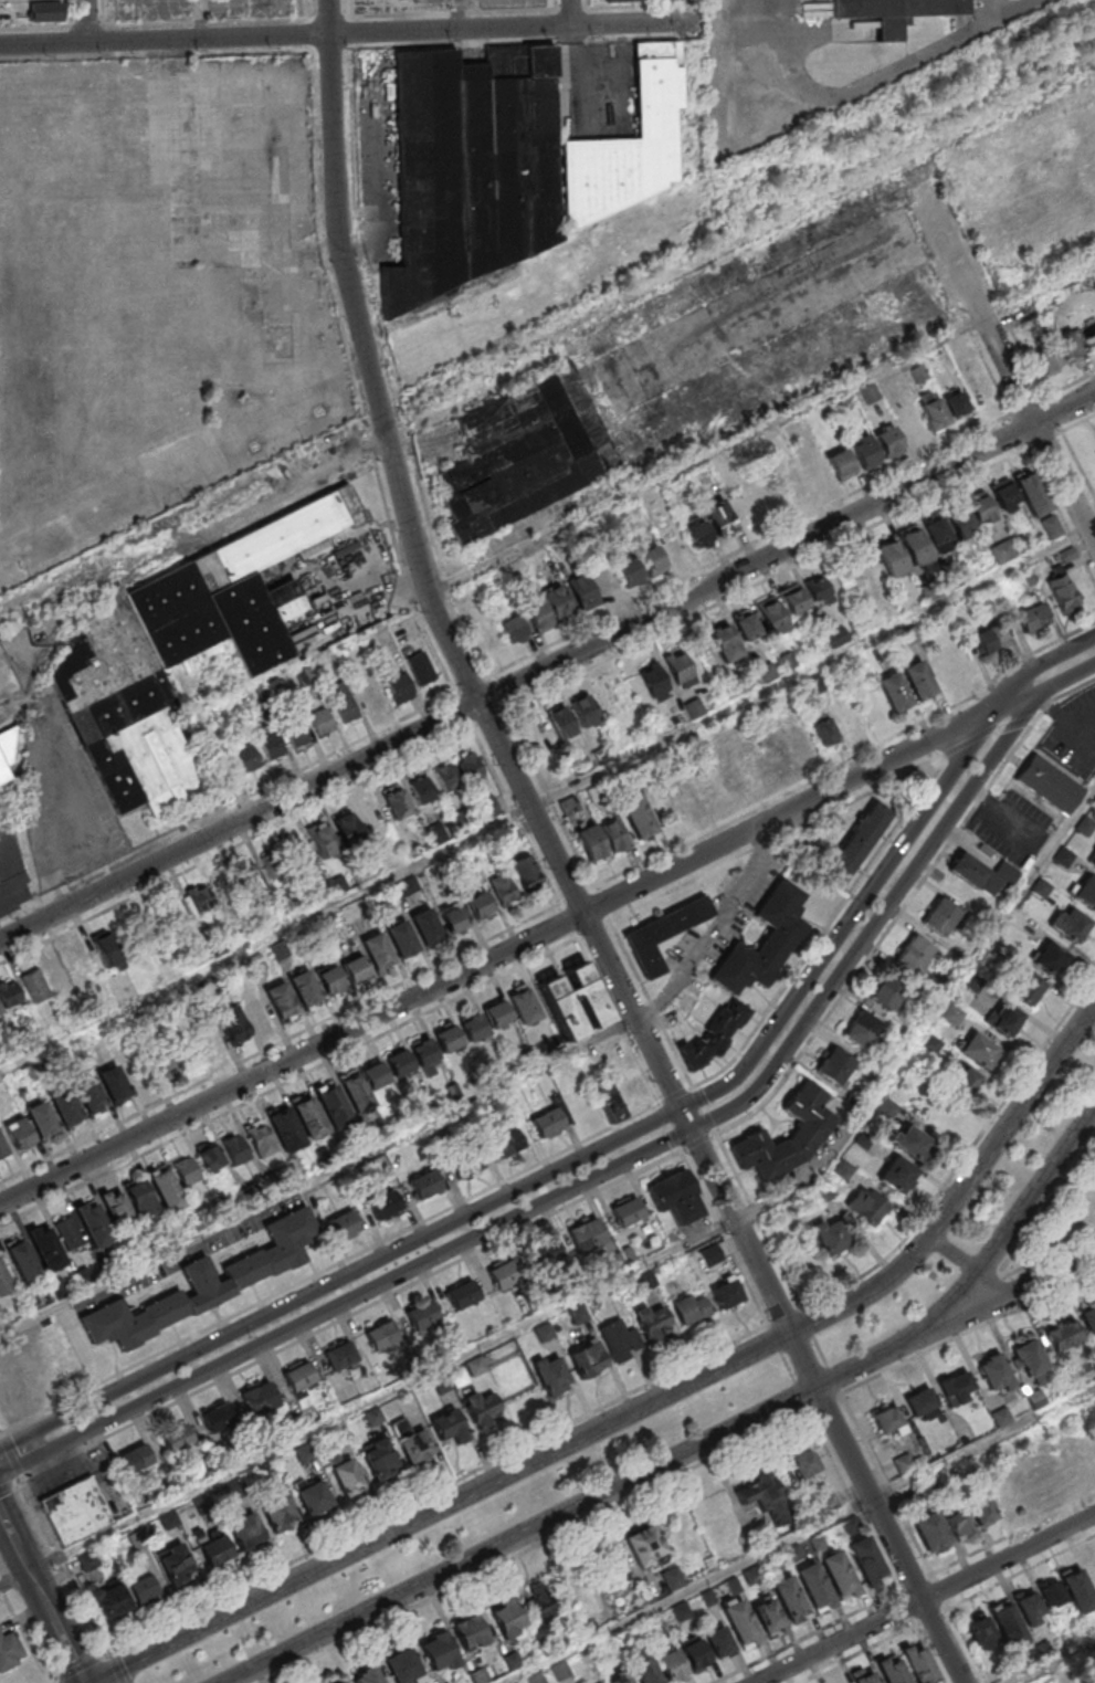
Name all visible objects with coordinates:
building: (621, 0)
building: (46, 11)
road: (570, 12)
building: (895, 12)
road: (462, 14)
road: (203, 19)
road: (85, 21)
road: (337, 33)
road: (897, 67)
building: (629, 144)
building: (473, 167)
road: (939, 263)
road: (968, 326)
building: (1068, 345)
building: (1050, 360)
road: (1004, 366)
road: (992, 376)
building: (957, 403)
building: (935, 412)
building: (910, 424)
road: (1019, 431)
building: (889, 440)
building: (525, 451)
building: (866, 452)
building: (842, 464)
road: (396, 473)
building: (792, 483)
building: (1032, 493)
building: (1005, 495)
building: (981, 507)
road: (1060, 512)
building: (720, 517)
building: (962, 522)
building: (1053, 526)
building: (697, 532)
building: (939, 533)
building: (672, 541)
railway: (137, 543)
building: (915, 545)
building: (892, 557)
building: (653, 560)
building: (629, 570)
building: (868, 572)
building: (819, 590)
building: (583, 591)
building: (1063, 592)
building: (794, 598)
building: (558, 602)
building: (772, 616)
building: (539, 617)
building: (1032, 617)
building: (747, 624)
building: (514, 629)
building: (838, 635)
building: (991, 638)
building: (492, 640)
building: (725, 642)
road: (548, 645)
building: (178, 652)
building: (421, 666)
building: (681, 667)
road: (1043, 671)
road: (547, 674)
road: (1067, 679)
building: (918, 680)
building: (655, 682)
building: (399, 687)
road: (547, 687)
building: (895, 692)
building: (370, 693)
building: (610, 700)
road: (1019, 701)
building: (343, 702)
building: (693, 708)
building: (585, 709)
building: (322, 720)
building: (562, 722)
road: (989, 730)
building: (824, 732)
building: (298, 735)
parking lot: (1075, 736)
building: (802, 739)
building: (273, 746)
building: (248, 758)
building: (780, 758)
building: (470, 766)
building: (3, 771)
building: (448, 777)
building: (1049, 785)
building: (423, 789)
building: (709, 792)
building: (684, 798)
road: (548, 799)
building: (396, 801)
building: (488, 804)
road: (791, 811)
building: (638, 814)
building: (372, 816)
building: (347, 827)
parking lot: (1012, 827)
building: (614, 834)
building: (323, 839)
building: (592, 842)
building: (857, 842)
building: (299, 853)
building: (1063, 856)
building: (1092, 860)
building: (274, 865)
building: (528, 873)
building: (983, 873)
building: (253, 880)
building: (12, 881)
building: (1041, 887)
building: (504, 888)
building: (1085, 891)
building: (198, 903)
road: (904, 904)
building: (481, 906)
building: (941, 916)
building: (454, 917)
building: (1070, 925)
building: (427, 926)
road: (714, 928)
road: (826, 928)
building: (155, 930)
building: (663, 933)
building: (402, 939)
building: (764, 940)
building: (108, 950)
building: (377, 951)
building: (916, 951)
building: (1050, 958)
building: (356, 968)
building: (59, 972)
building: (331, 980)
building: (35, 985)
building: (305, 988)
building: (1026, 988)
building: (9, 992)
building: (888, 992)
building: (575, 1000)
building: (282, 1002)
building: (523, 1006)
building: (255, 1011)
building: (0, 1012)
building: (497, 1013)
building: (1005, 1019)
building: (233, 1025)
building: (473, 1025)
building: (864, 1029)
building: (209, 1038)
road: (288, 1038)
building: (448, 1038)
building: (710, 1038)
building: (979, 1049)
building: (425, 1055)
road: (293, 1059)
building: (400, 1062)
building: (166, 1064)
building: (834, 1065)
building: (376, 1074)
building: (965, 1081)
building: (114, 1084)
building: (356, 1090)
road: (677, 1094)
building: (91, 1095)
building: (609, 1102)
building: (333, 1103)
building: (66, 1108)
road: (704, 1108)
building: (886, 1108)
building: (309, 1117)
building: (552, 1118)
building: (42, 1119)
road: (670, 1126)
building: (285, 1128)
building: (809, 1132)
building: (20, 1134)
building: (260, 1138)
road: (698, 1139)
building: (912, 1142)
building: (507, 1143)
building: (3, 1148)
building: (236, 1148)
building: (211, 1157)
road: (964, 1158)
building: (466, 1163)
road: (570, 1163)
building: (187, 1170)
building: (897, 1175)
road: (598, 1176)
road: (318, 1177)
building: (425, 1184)
building: (166, 1188)
road: (1032, 1195)
building: (677, 1196)
building: (141, 1199)
building: (385, 1205)
building: (867, 1205)
building: (116, 1206)
building: (628, 1210)
road: (758, 1217)
building: (93, 1222)
building: (345, 1226)
building: (67, 1232)
building: (587, 1233)
road: (725, 1235)
building: (831, 1237)
building: (46, 1247)
building: (544, 1253)
building: (712, 1254)
road: (952, 1254)
building: (22, 1261)
road: (636, 1271)
building: (504, 1274)
building: (4, 1280)
building: (208, 1282)
road: (1033, 1284)
building: (726, 1292)
building: (463, 1294)
road: (776, 1297)
building: (691, 1308)
road: (351, 1313)
building: (422, 1314)
building: (579, 1314)
building: (1089, 1318)
building: (653, 1321)
road: (968, 1330)
building: (381, 1335)
building: (1064, 1335)
building: (619, 1339)
road: (821, 1348)
building: (340, 1355)
building: (588, 1359)
building: (1031, 1360)
road: (788, 1366)
building: (994, 1372)
building: (551, 1374)
building: (299, 1381)
building: (443, 1384)
building: (957, 1388)
building: (259, 1398)
road: (824, 1402)
building: (922, 1403)
road: (644, 1406)
building: (482, 1408)
building: (218, 1417)
building: (888, 1420)
building: (449, 1424)
road: (0, 1432)
building: (177, 1438)
building: (412, 1441)
building: (305, 1453)
building: (135, 1458)
building: (379, 1459)
building: (807, 1466)
building: (346, 1474)
road: (11, 1482)
building: (1040, 1483)
road: (606, 1493)
building: (757, 1493)
building: (314, 1496)
road: (852, 1500)
building: (981, 1508)
building: (76, 1511)
building: (280, 1513)
building: (958, 1521)
building: (246, 1531)
building: (931, 1532)
road: (800, 1537)
road: (915, 1537)
road: (54, 1542)
road: (534, 1546)
building: (646, 1546)
building: (213, 1548)
road: (971, 1557)
building: (865, 1559)
building: (87, 1560)
building: (175, 1564)
building: (1092, 1569)
building: (839, 1574)
building: (672, 1577)
road: (14, 1581)
building: (814, 1585)
building: (144, 1589)
building: (1078, 1591)
building: (1052, 1593)
road: (923, 1597)
road: (41, 1598)
building: (789, 1598)
building: (544, 1599)
building: (112, 1601)
building: (1030, 1608)
building: (507, 1617)
building: (768, 1617)
building: (740, 1622)
building: (1008, 1623)
building: (470, 1631)
building: (980, 1631)
building: (718, 1639)
building: (438, 1650)
building: (10, 1651)
building: (694, 1652)
building: (513, 1660)
road: (1053, 1662)
building: (918, 1663)
building: (671, 1665)
road: (80, 1666)
building: (403, 1666)
building: (643, 1666)
road: (116, 1668)
building: (560, 1670)
building: (892, 1670)
building: (367, 1674)
building: (864, 1674)
building: (619, 1677)
building: (536, 1679)
building: (338, 1681)
building: (844, 1682)
building: (1077, 1682)

